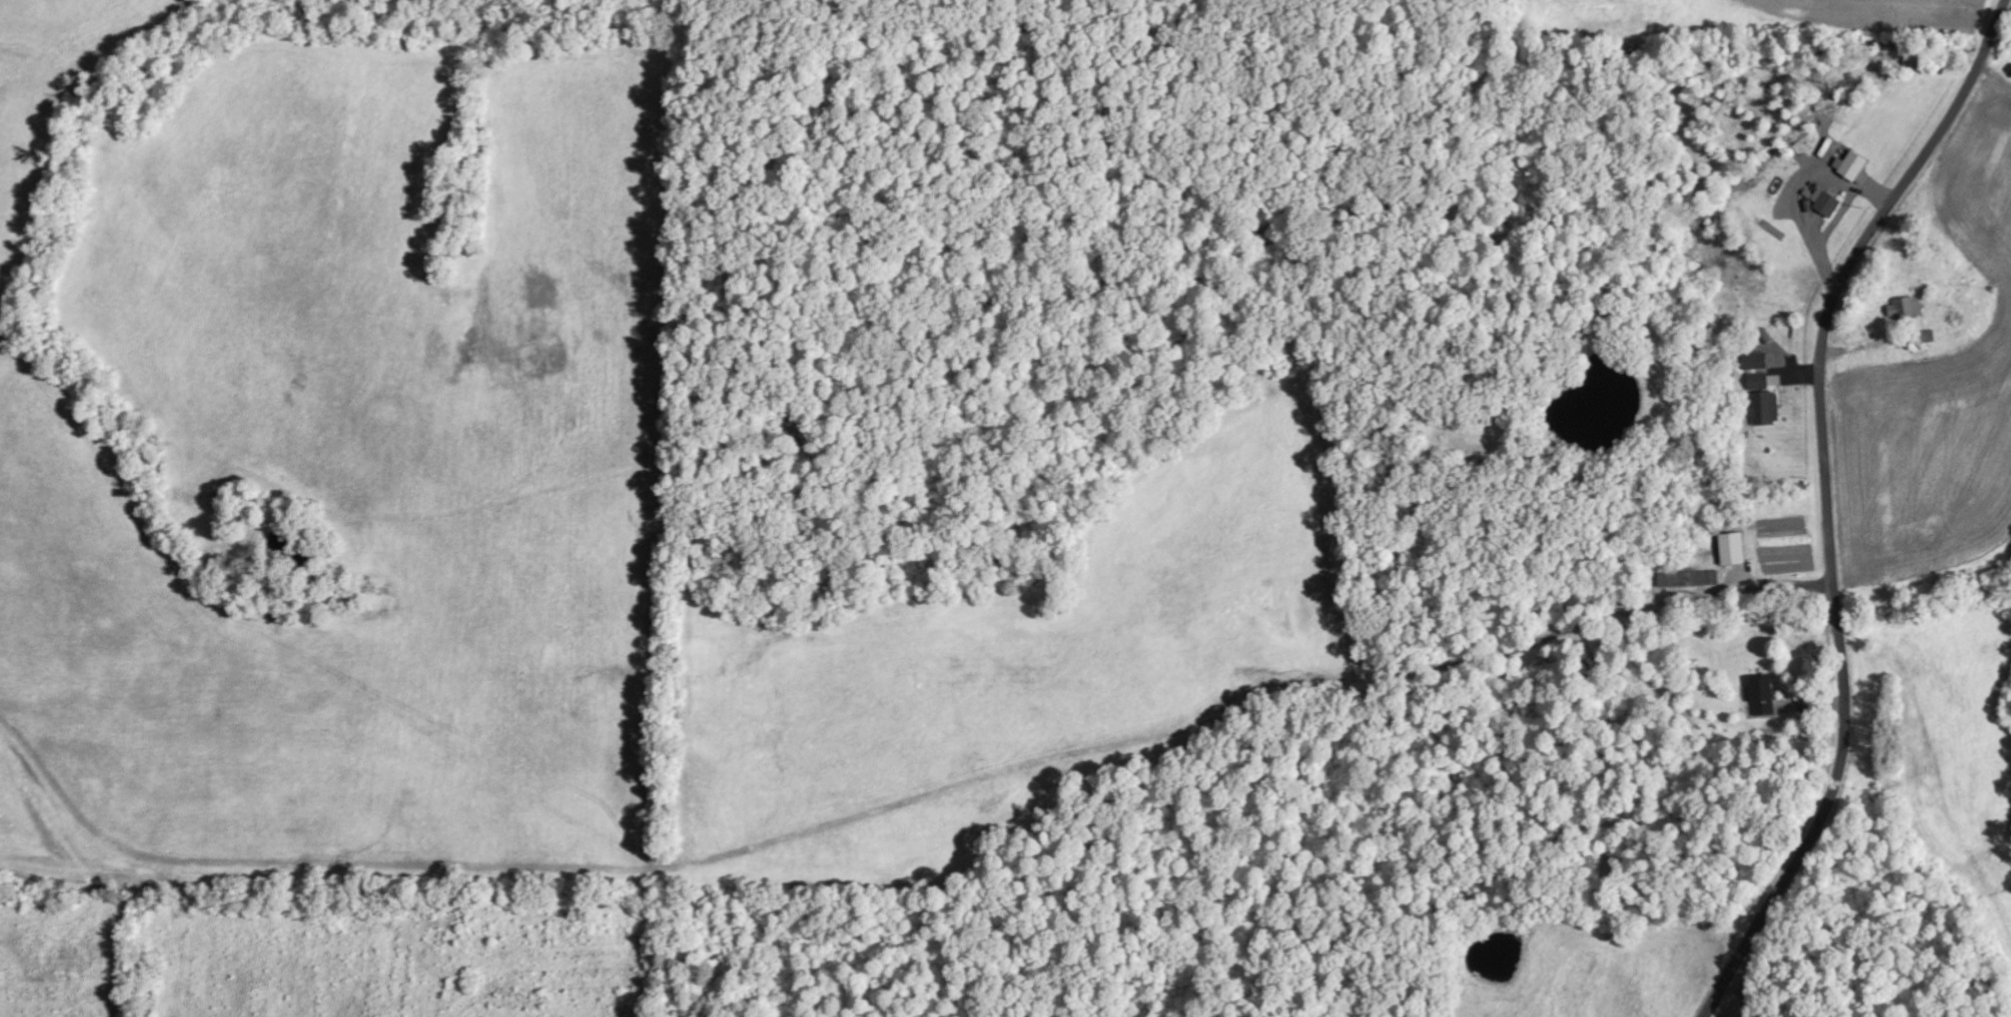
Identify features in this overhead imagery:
building: (1851, 165)
building: (1827, 203)
building: (1906, 307)
building: (1755, 360)
road: (1829, 501)
building: (1732, 548)
building: (1689, 579)
building: (1762, 696)

